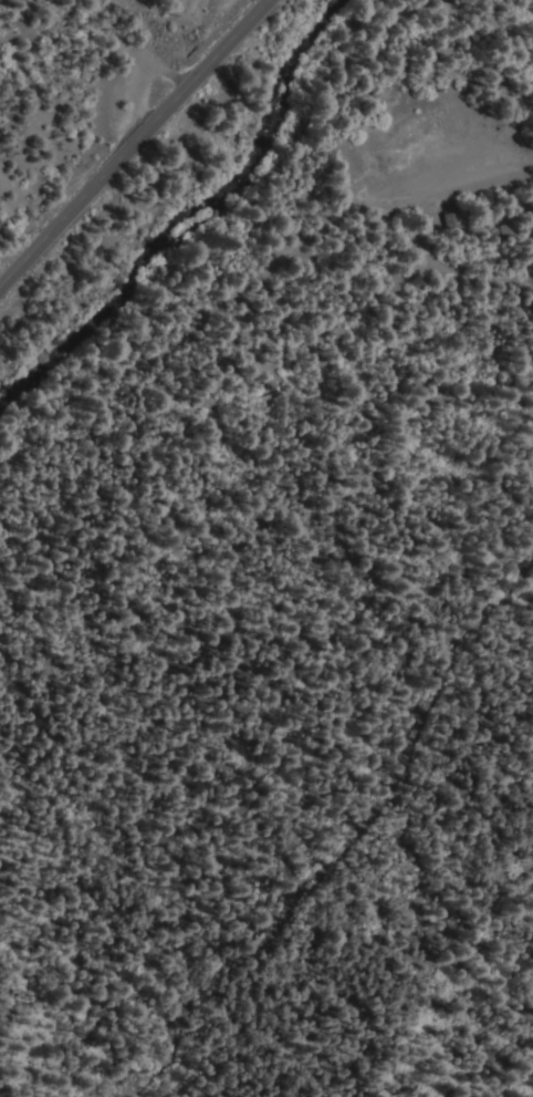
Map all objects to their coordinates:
road: (130, 143)

